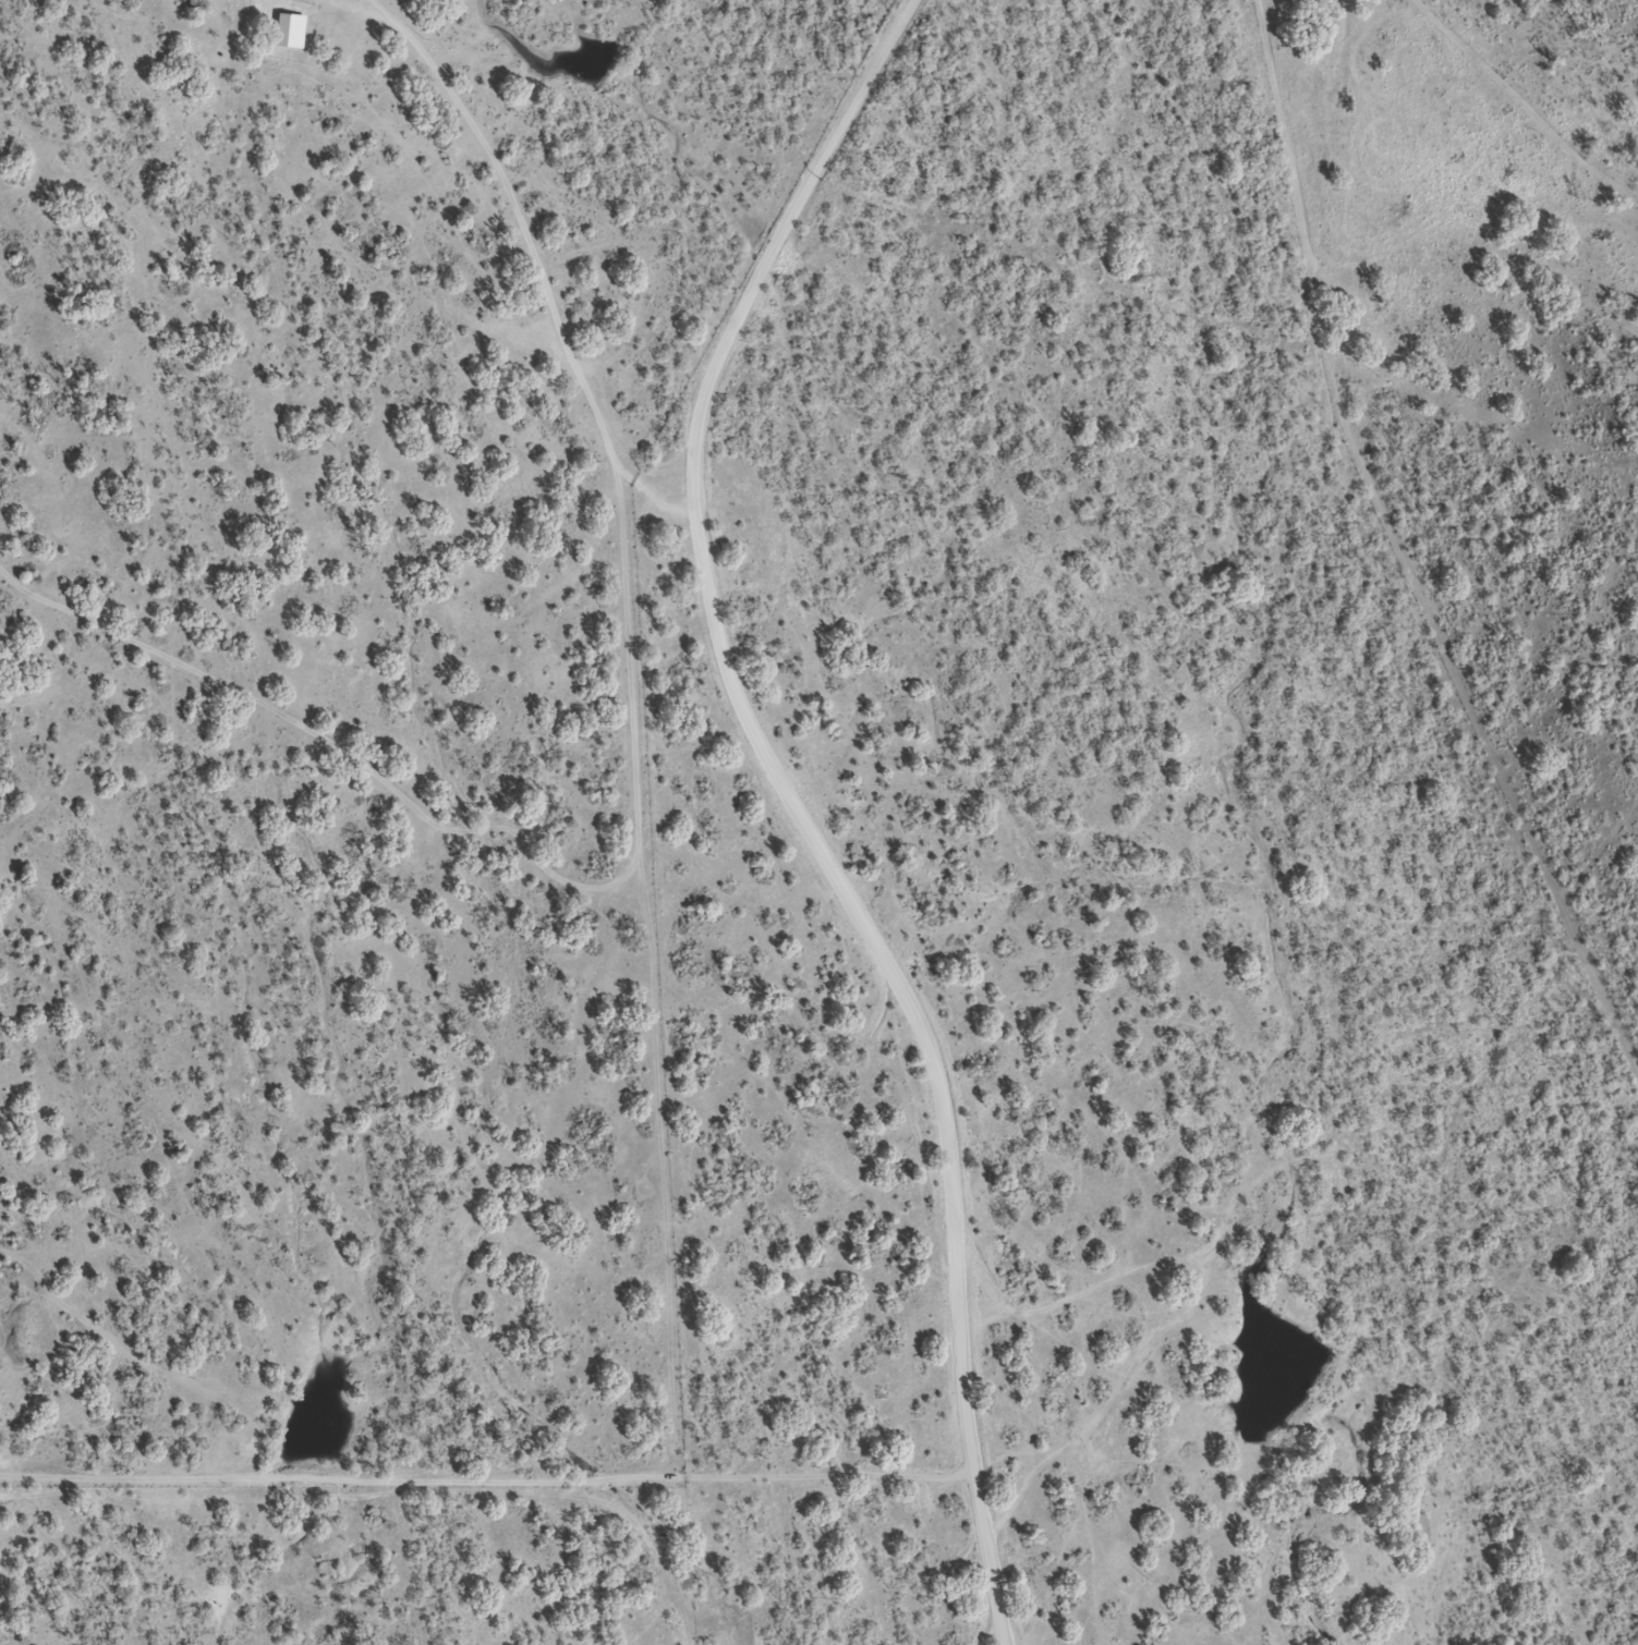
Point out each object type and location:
building: (195, 4)
building: (282, 36)
road: (1528, 106)
road: (537, 257)
road: (794, 805)
road: (490, 1483)

